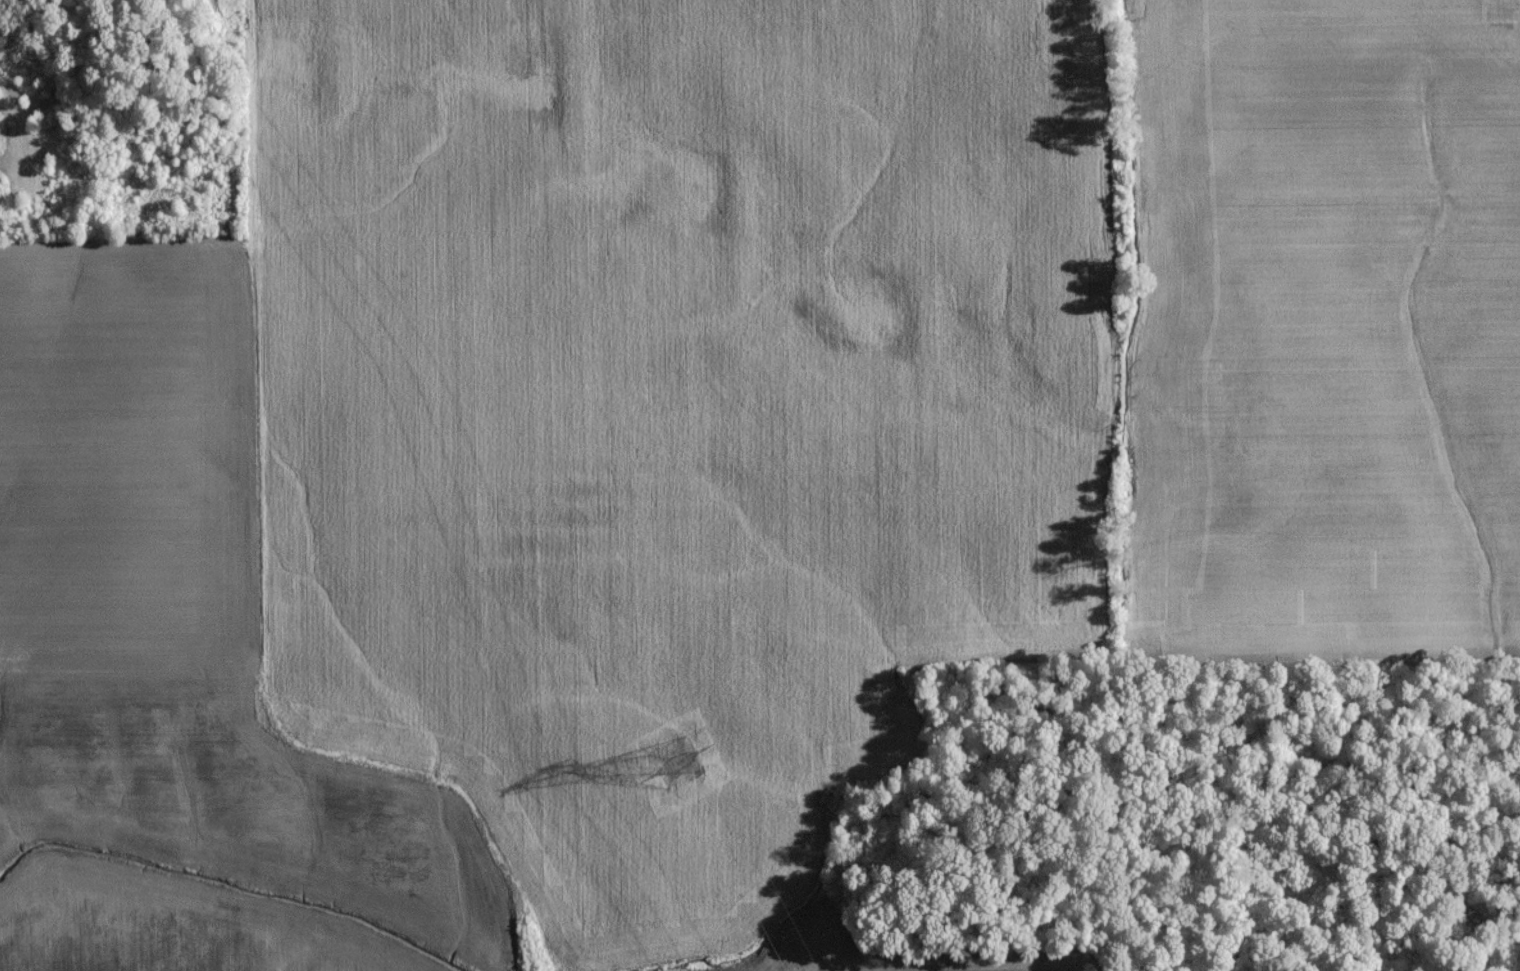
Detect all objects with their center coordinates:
power tower: (674, 766)

